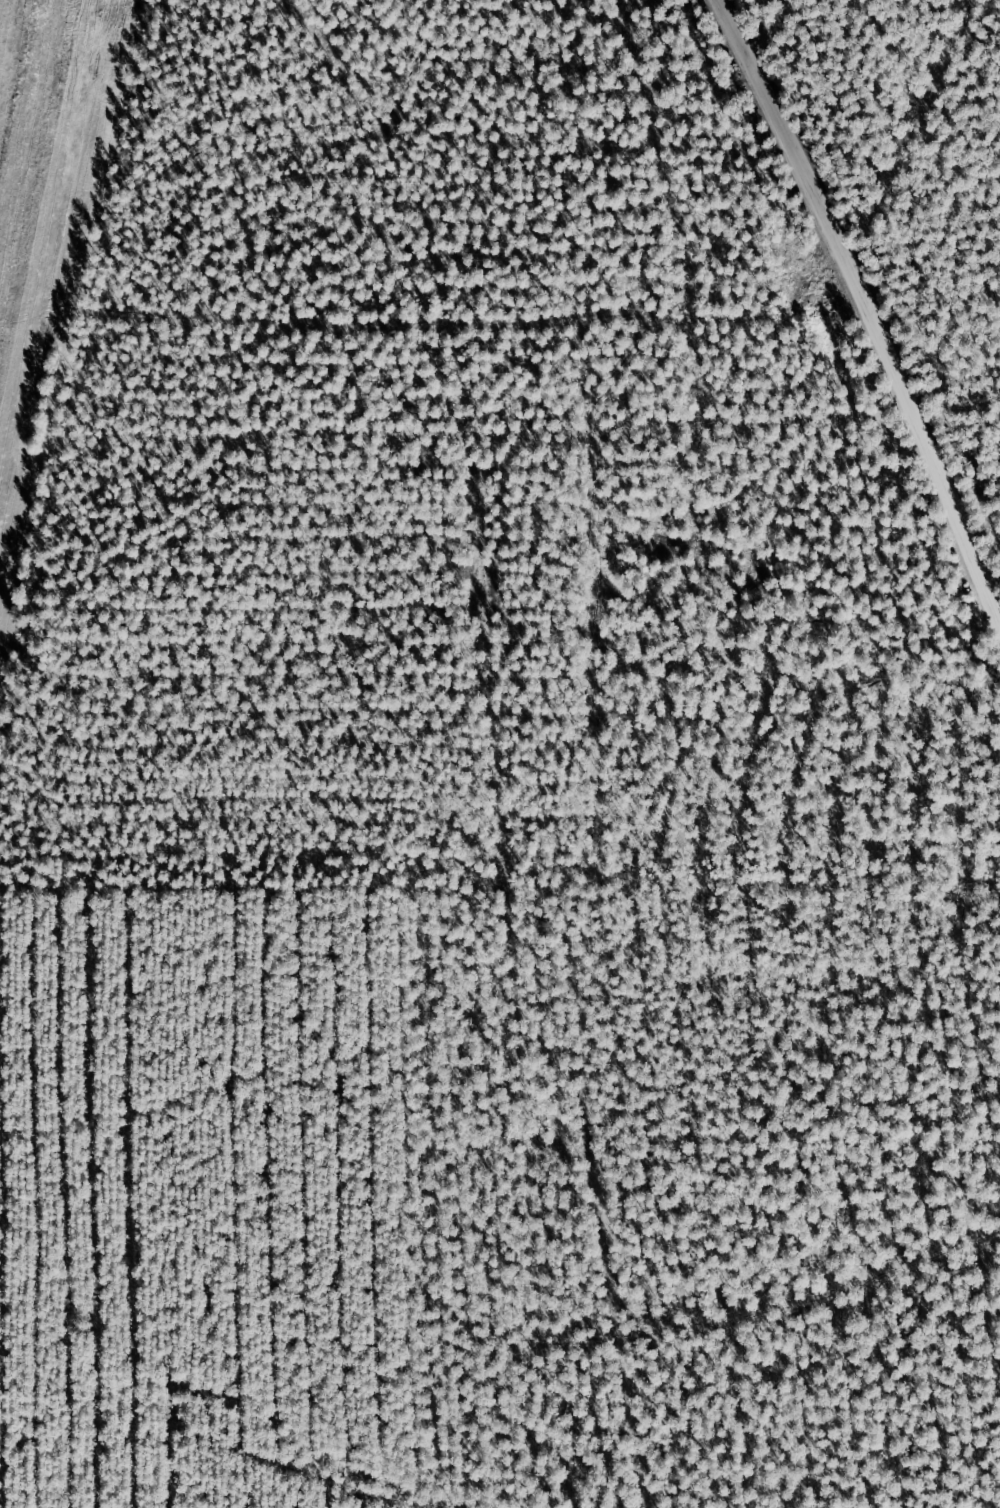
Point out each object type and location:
road: (892, 263)

